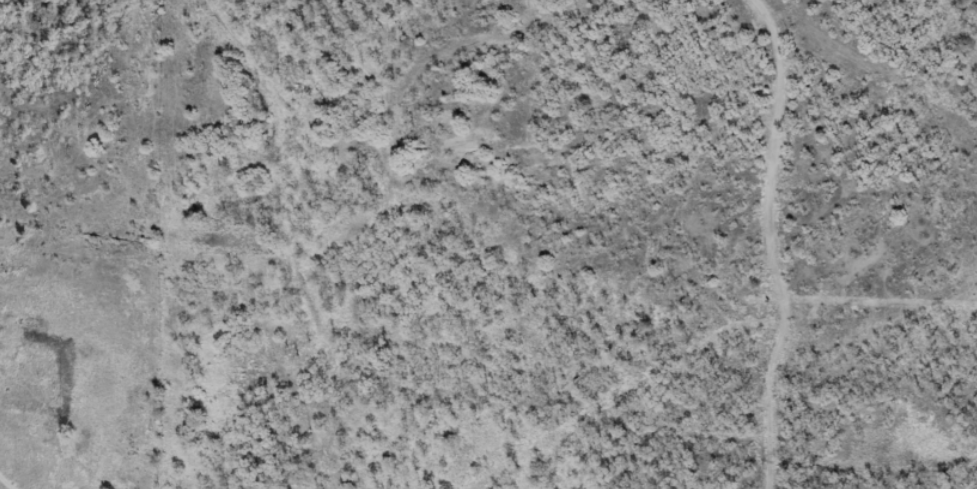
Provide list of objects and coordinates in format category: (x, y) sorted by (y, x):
road: (398, 74)
road: (386, 240)

